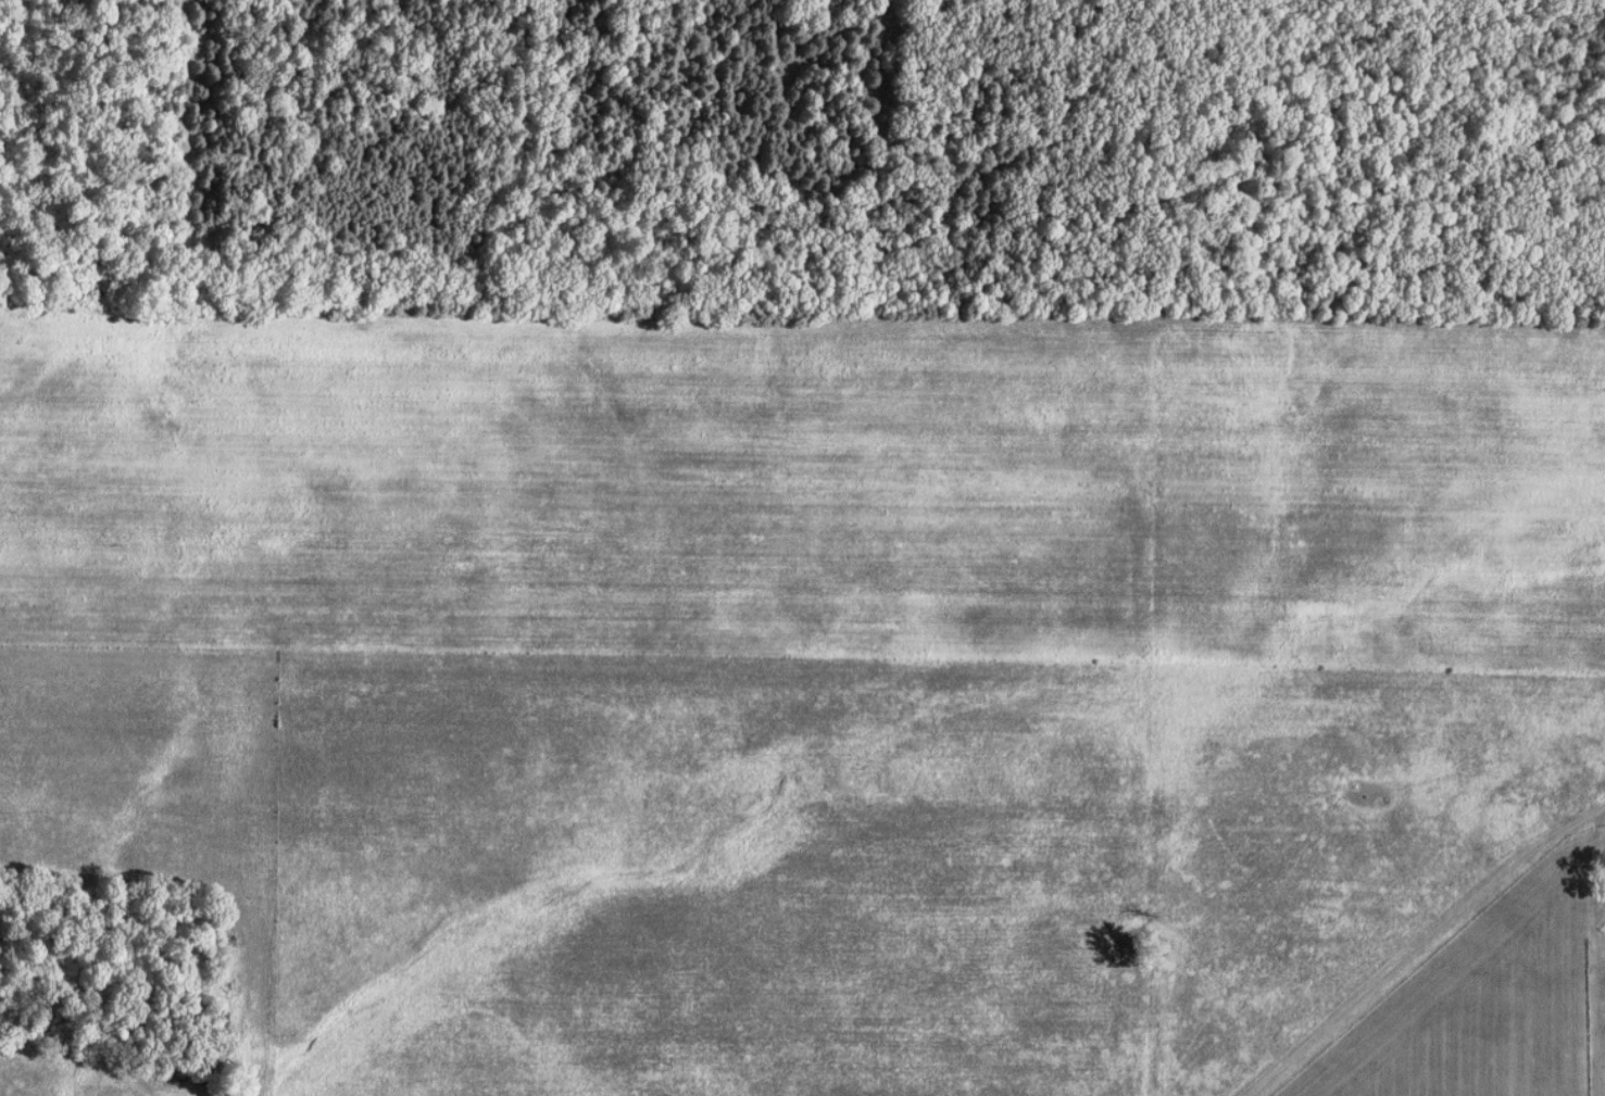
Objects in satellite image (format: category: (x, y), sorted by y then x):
road: (1427, 947)

